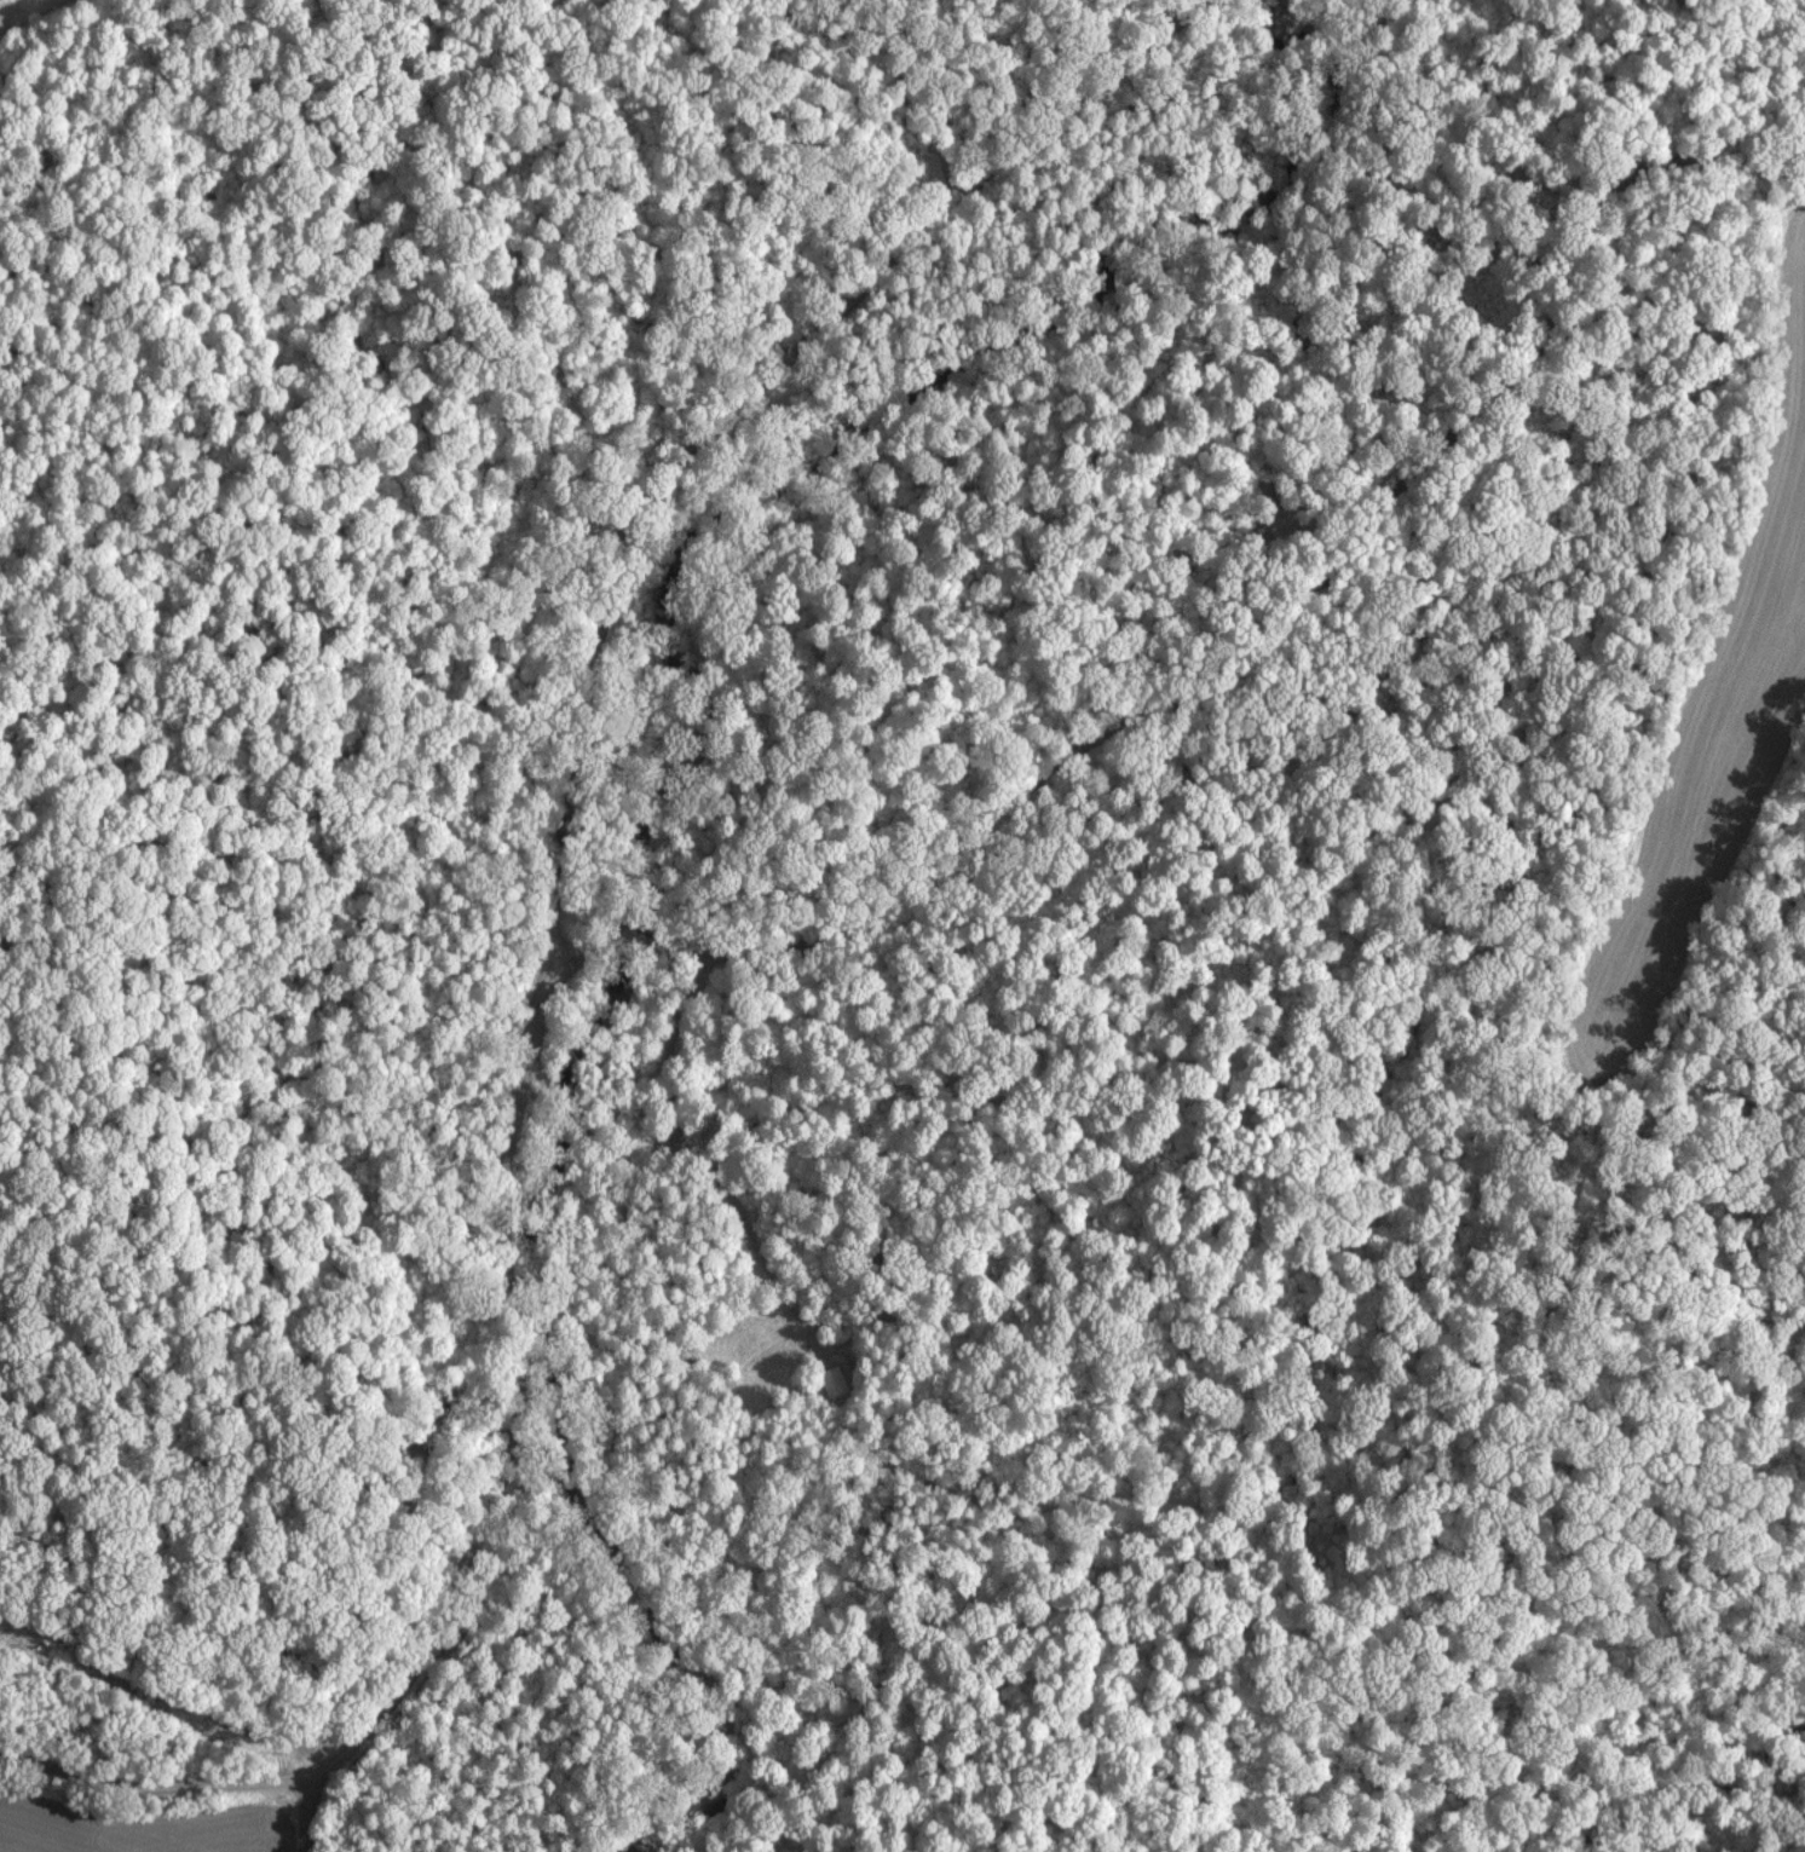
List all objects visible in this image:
road: (1227, 668)
road: (561, 807)
road: (155, 1785)
road: (299, 1828)

